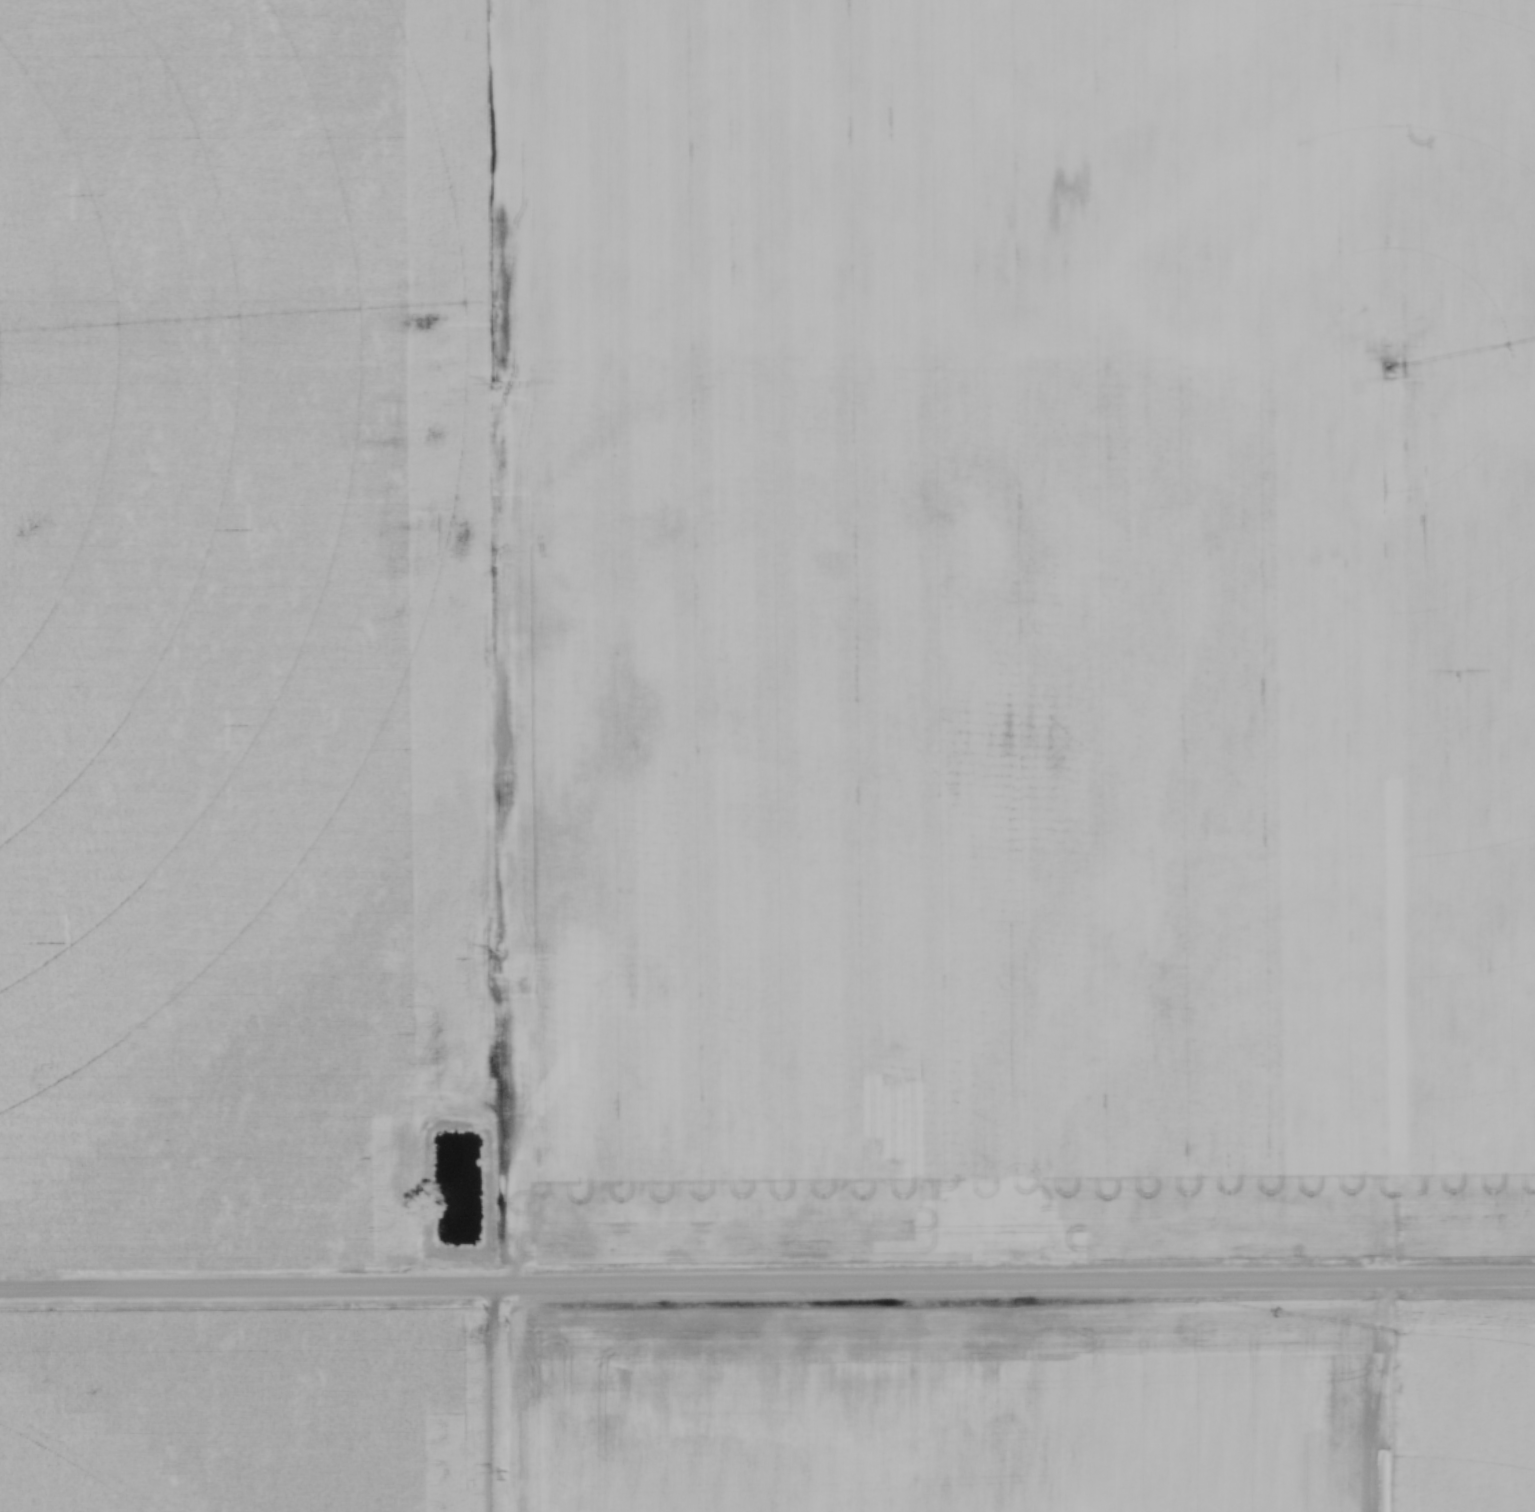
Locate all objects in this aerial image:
road: (767, 1291)

